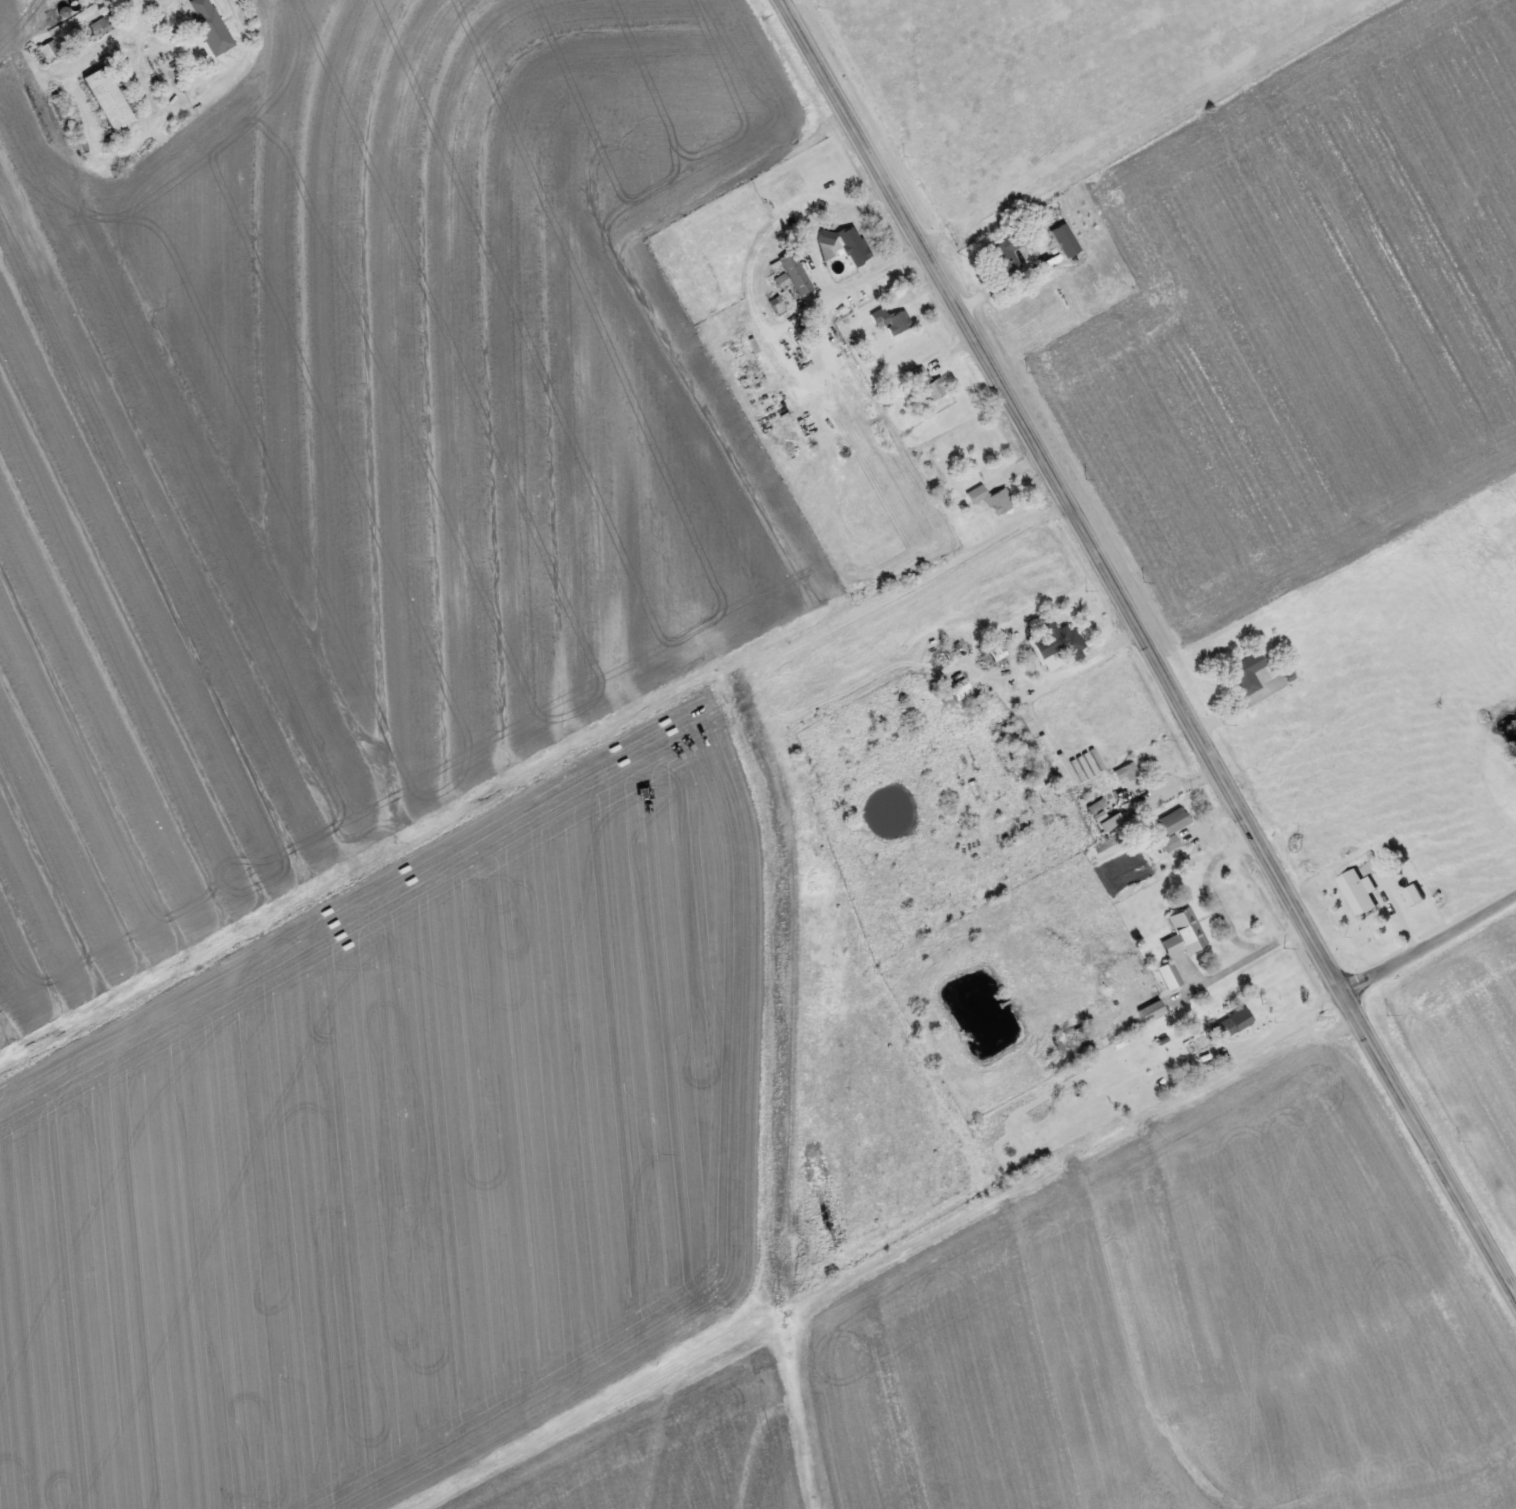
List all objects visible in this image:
building: (104, 22)
crop: (16, 24)
building: (210, 25)
building: (107, 97)
building: (825, 236)
building: (1063, 238)
building: (853, 244)
building: (1006, 251)
building: (795, 271)
crop: (1294, 313)
building: (897, 320)
building: (793, 331)
building: (930, 383)
crop: (360, 457)
building: (990, 496)
building: (1056, 642)
road: (1147, 648)
building: (949, 652)
building: (1247, 672)
building: (961, 690)
building: (1126, 771)
building: (1172, 820)
building: (1359, 890)
building: (1414, 894)
building: (1182, 932)
road: (1429, 941)
building: (1169, 974)
building: (1150, 1010)
building: (1235, 1021)
crop: (1467, 1041)
crop: (412, 1153)
crop: (1186, 1329)

